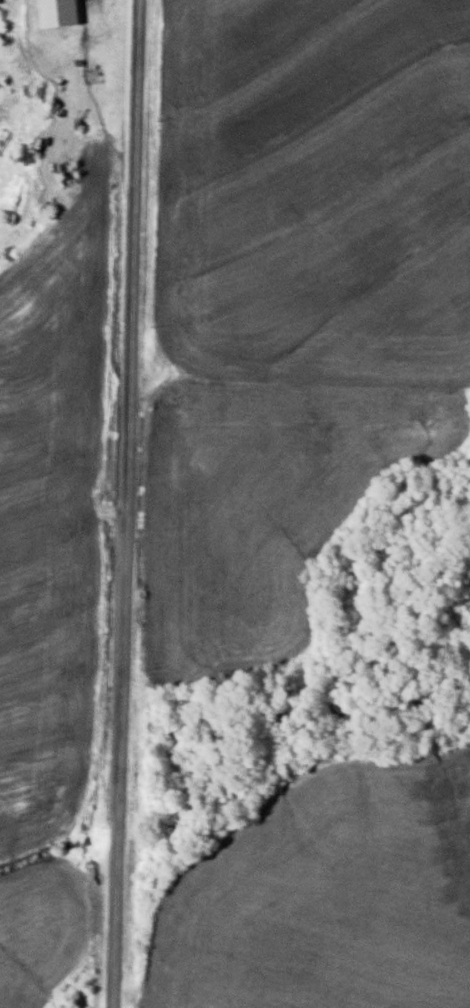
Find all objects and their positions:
building: (60, 13)
road: (135, 504)

